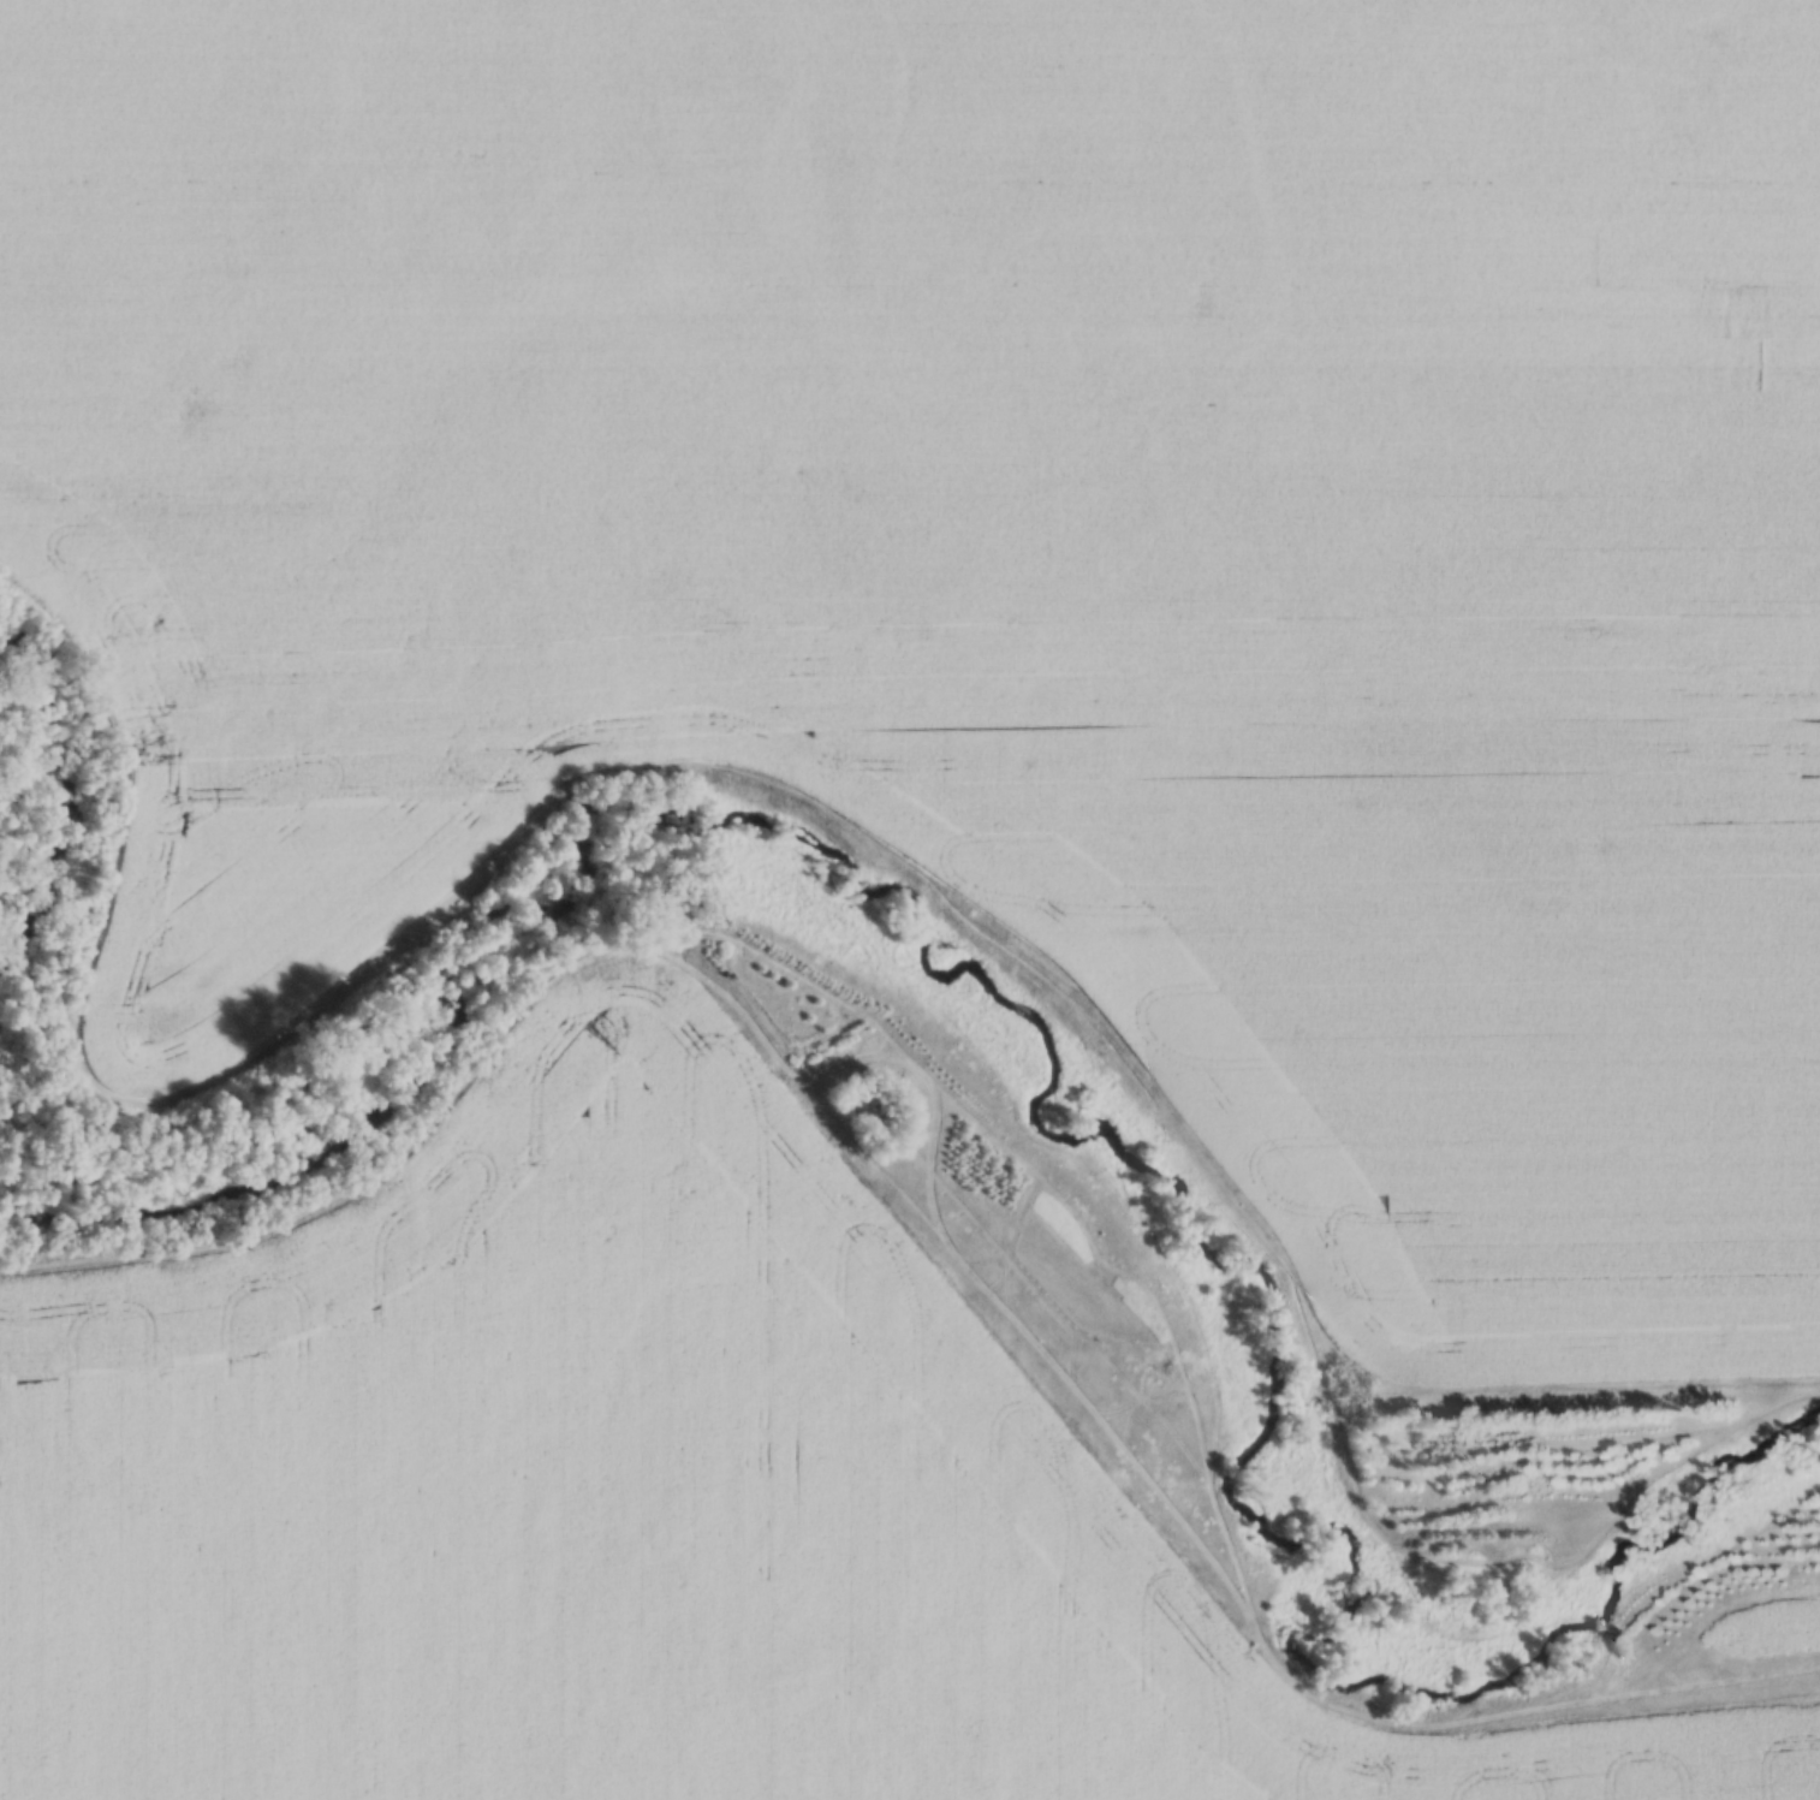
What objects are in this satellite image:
river: (69, 822)
river: (1041, 1076)

